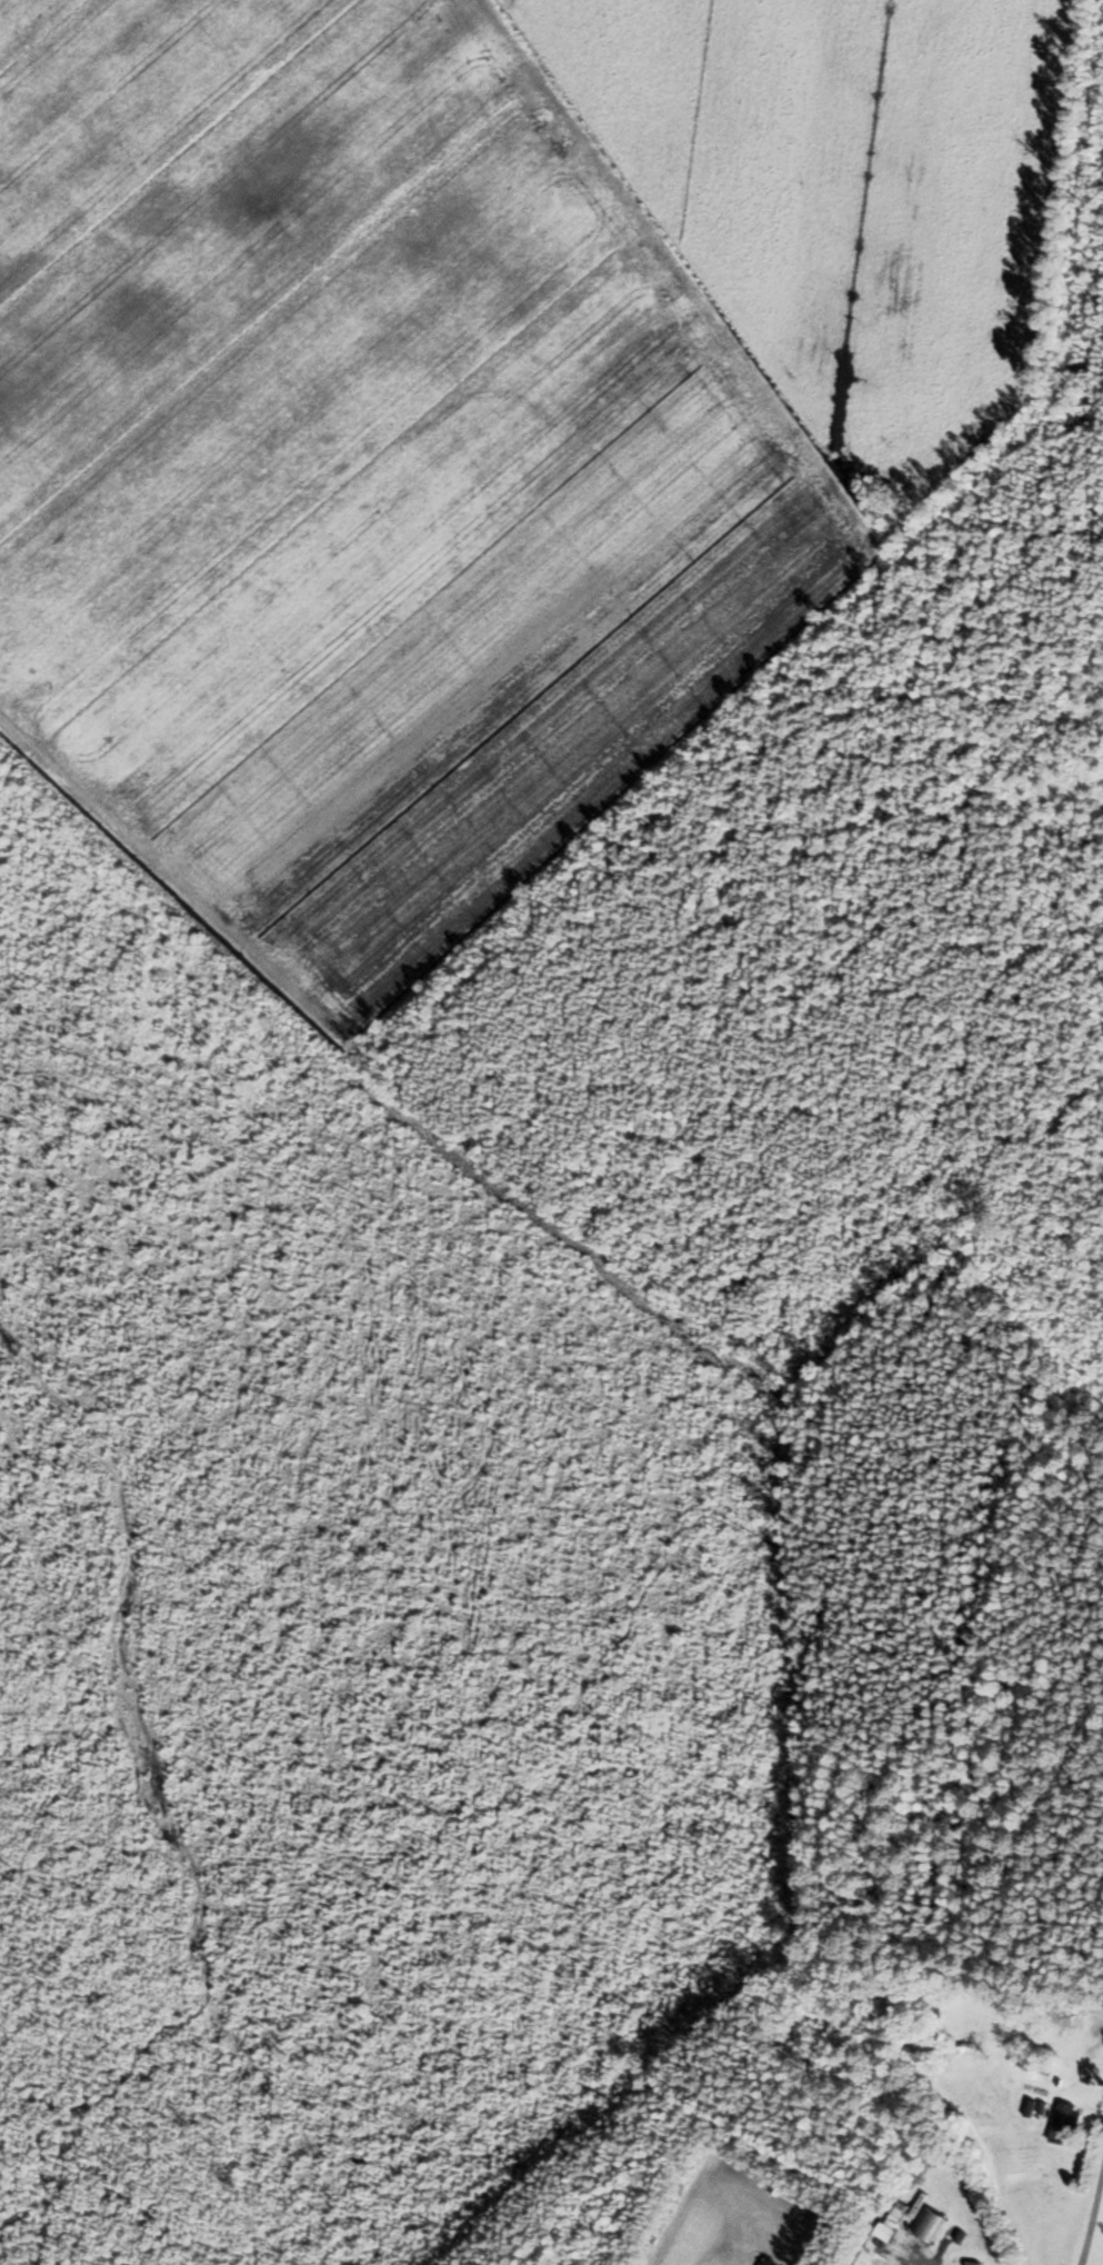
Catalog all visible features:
building: (1093, 2035)
building: (1043, 2065)
building: (1062, 2123)
building: (891, 2219)
road: (1093, 2224)
building: (929, 2225)

